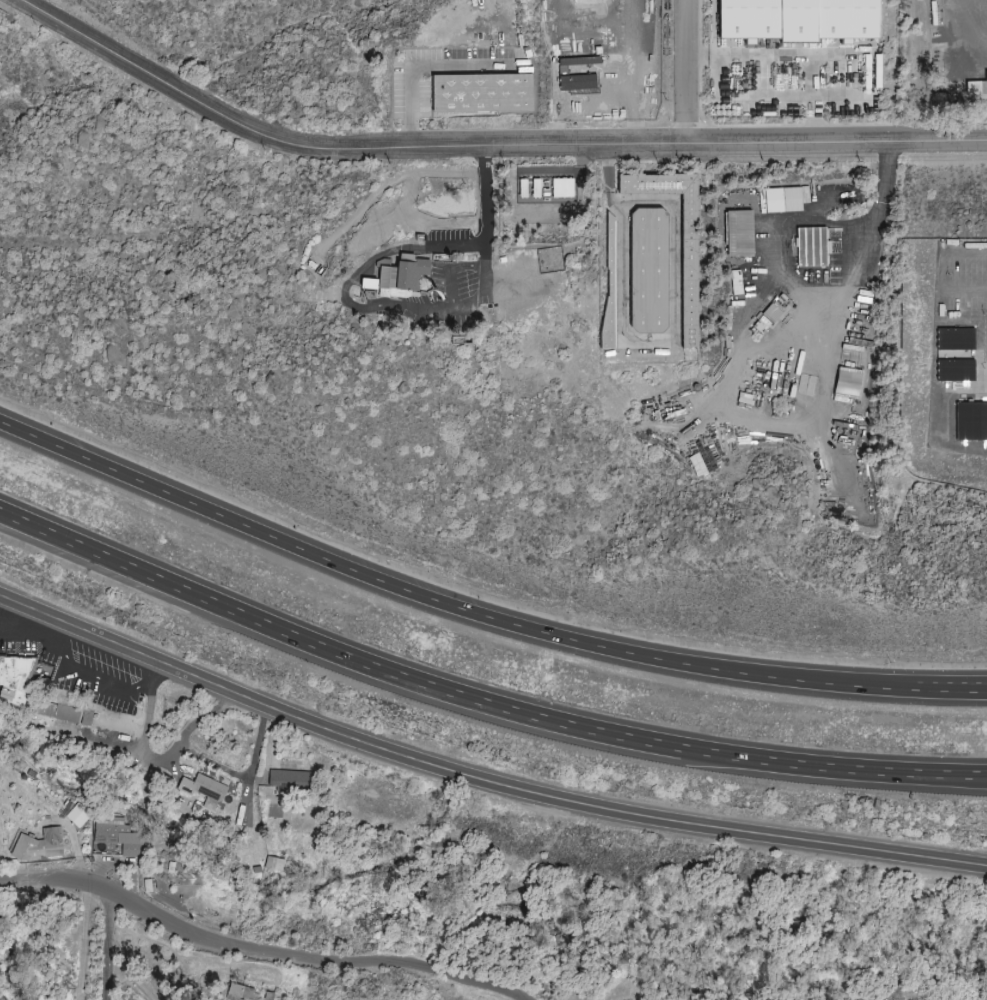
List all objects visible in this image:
building: (794, 20)
road: (751, 54)
road: (686, 73)
building: (580, 84)
building: (977, 87)
building: (481, 94)
road: (486, 148)
road: (887, 183)
building: (562, 187)
building: (782, 199)
building: (738, 233)
building: (810, 246)
road: (943, 269)
building: (647, 270)
road: (788, 274)
building: (394, 275)
building: (737, 282)
building: (364, 283)
building: (687, 294)
road: (409, 306)
building: (771, 313)
building: (955, 338)
building: (955, 369)
building: (847, 381)
building: (807, 385)
building: (972, 421)
road: (399, 583)
road: (3, 602)
building: (21, 677)
road: (902, 682)
road: (450, 689)
road: (902, 692)
building: (58, 711)
road: (171, 757)
road: (957, 772)
road: (957, 775)
building: (290, 780)
road: (479, 780)
building: (203, 787)
building: (116, 836)
building: (39, 846)
building: (274, 864)
road: (109, 913)
road: (84, 942)
road: (259, 951)
road: (107, 967)
road: (130, 968)
building: (241, 991)

